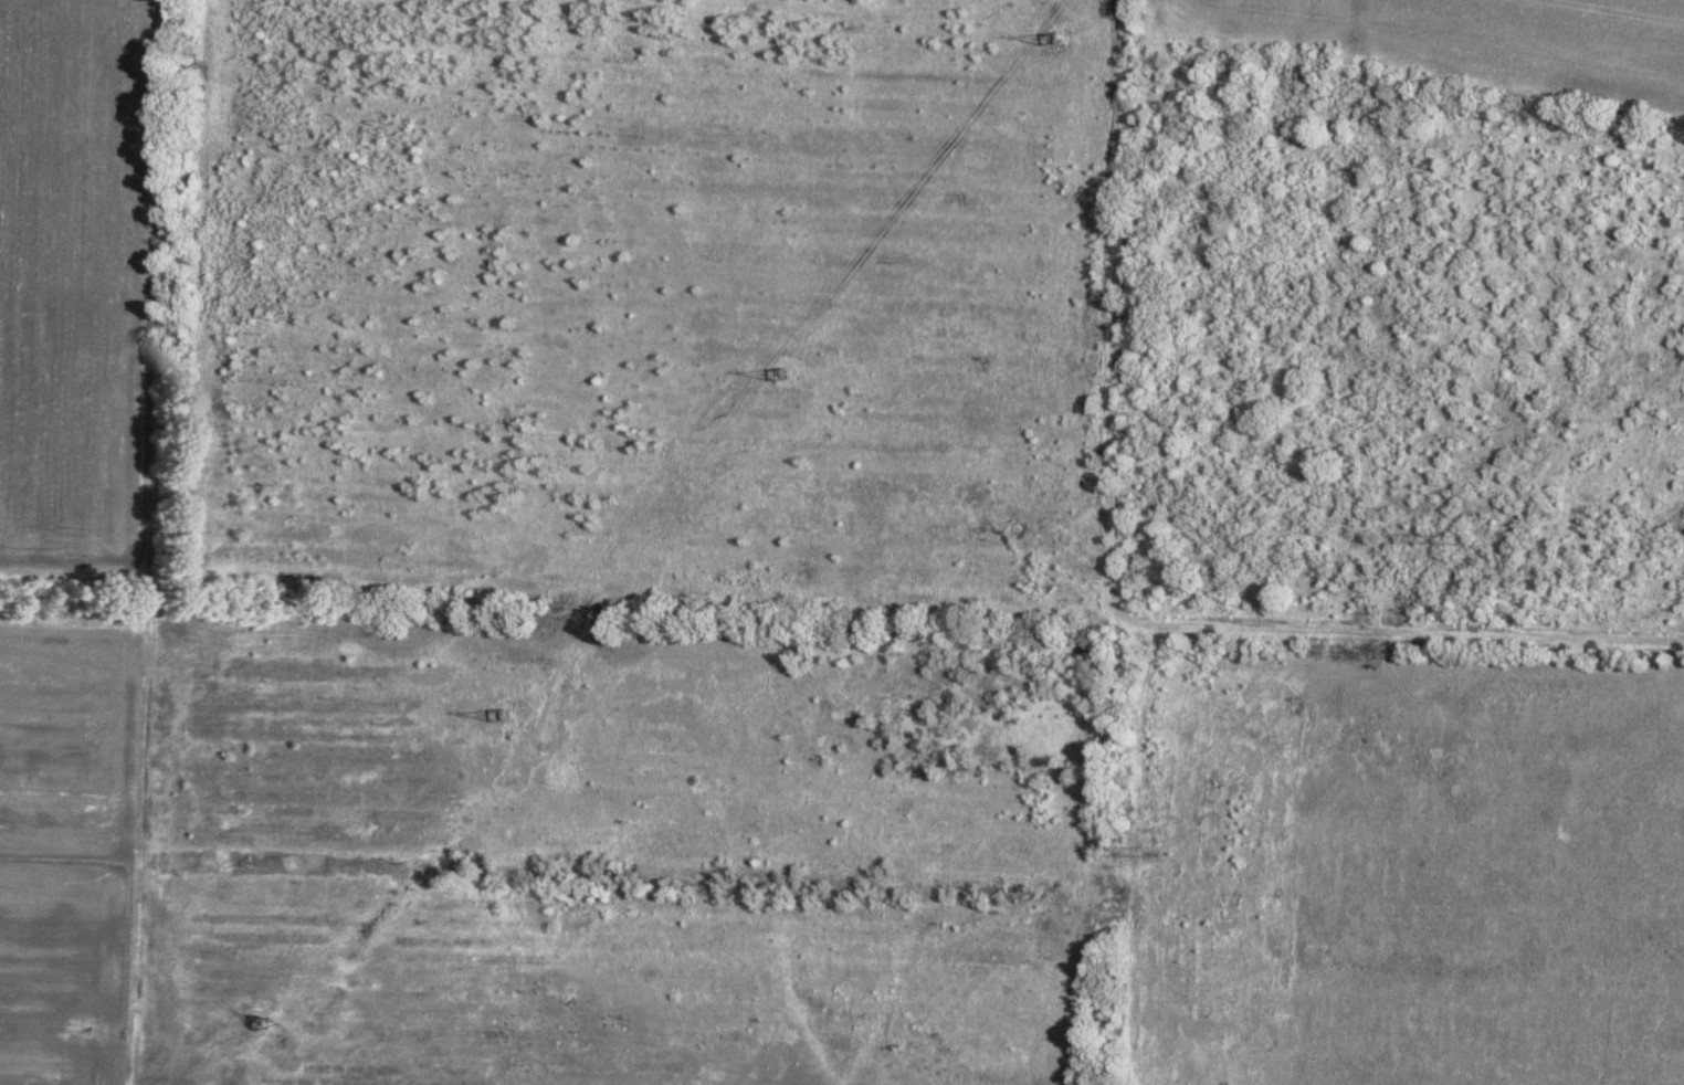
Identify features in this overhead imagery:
power tower: (1467, 542)
road: (1387, 626)
power tower: (1156, 857)

